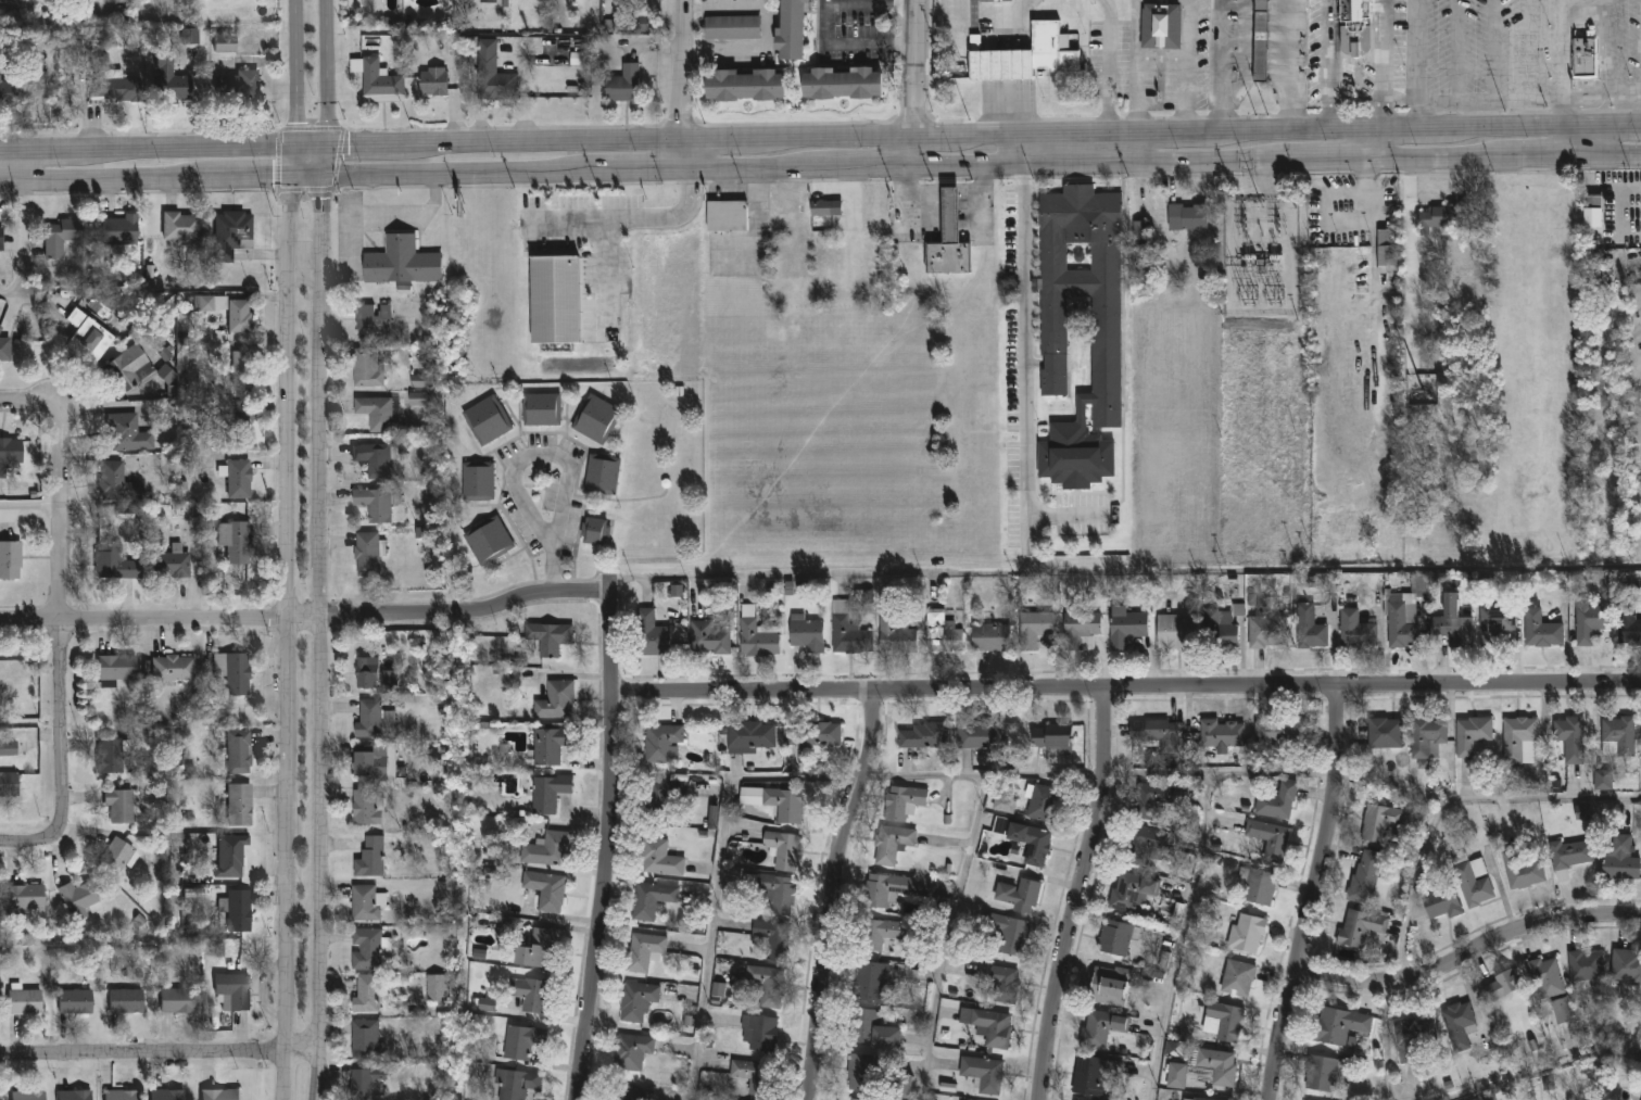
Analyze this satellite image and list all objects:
building: (491, 0)
building: (994, 1)
road: (1014, 15)
building: (641, 24)
road: (769, 26)
road: (825, 26)
building: (1159, 26)
building: (733, 28)
building: (791, 28)
building: (1353, 28)
building: (190, 36)
building: (1261, 40)
building: (228, 41)
road: (1611, 49)
road: (1531, 51)
road: (1417, 52)
road: (1457, 52)
road: (1495, 52)
building: (1582, 52)
building: (1028, 55)
parking lot: (1514, 55)
road: (1330, 64)
road: (1108, 65)
road: (1137, 65)
road: (1288, 65)
road: (1189, 66)
road: (1386, 66)
road: (1564, 66)
road: (1239, 67)
road: (295, 72)
road: (325, 72)
building: (496, 74)
building: (238, 78)
building: (112, 79)
building: (381, 80)
building: (438, 80)
building: (173, 81)
building: (841, 81)
road: (912, 83)
building: (621, 84)
road: (682, 84)
building: (744, 84)
building: (5, 87)
road: (1603, 99)
road: (1358, 100)
road: (1476, 104)
road: (1418, 117)
road: (1566, 127)
road: (1385, 128)
road: (983, 135)
traffic signals: (326, 144)
traffic signals: (295, 146)
road: (163, 148)
road: (1603, 153)
road: (1537, 154)
road: (1437, 156)
road: (1326, 157)
road: (324, 159)
road: (293, 160)
road: (1096, 162)
road: (864, 165)
road: (753, 167)
road: (641, 168)
road: (445, 170)
traffic signals: (291, 174)
traffic signals: (323, 174)
road: (258, 175)
road: (112, 178)
road: (1262, 179)
road: (1369, 190)
building: (826, 207)
road: (368, 212)
road: (943, 213)
building: (723, 215)
building: (1185, 216)
building: (1438, 218)
road: (635, 219)
building: (184, 227)
building: (123, 228)
building: (1591, 228)
building: (235, 232)
building: (1140, 233)
building: (63, 235)
building: (2, 238)
building: (946, 239)
parking lot: (586, 241)
road: (22, 246)
building: (1386, 249)
building: (405, 262)
road: (306, 276)
building: (1081, 291)
building: (555, 300)
building: (211, 303)
road: (1253, 305)
building: (242, 315)
building: (377, 320)
building: (1, 328)
building: (91, 333)
road: (1026, 344)
building: (7, 349)
building: (130, 368)
building: (245, 368)
building: (370, 368)
building: (421, 380)
building: (418, 400)
road: (34, 401)
building: (545, 408)
building: (381, 412)
building: (596, 418)
building: (491, 419)
building: (244, 420)
building: (130, 432)
road: (517, 451)
building: (11, 453)
building: (378, 458)
building: (603, 475)
building: (241, 478)
building: (481, 481)
building: (119, 482)
building: (380, 503)
building: (1599, 503)
road: (33, 505)
building: (595, 531)
building: (238, 540)
building: (492, 541)
building: (371, 553)
building: (11, 559)
building: (118, 561)
building: (175, 562)
road: (64, 614)
building: (1404, 614)
road: (310, 618)
building: (1590, 621)
building: (1452, 623)
building: (1492, 623)
building: (1627, 623)
building: (1124, 627)
building: (1033, 628)
building: (1220, 628)
building: (1308, 628)
building: (1082, 629)
building: (1539, 629)
building: (1355, 630)
building: (846, 631)
building: (1174, 631)
building: (1264, 631)
building: (893, 632)
building: (941, 633)
building: (649, 634)
building: (805, 634)
building: (755, 635)
road: (289, 636)
road: (321, 636)
building: (989, 636)
building: (553, 637)
building: (709, 638)
building: (176, 667)
building: (118, 668)
building: (237, 671)
building: (378, 674)
road: (1127, 688)
building: (559, 700)
building: (376, 719)
building: (1278, 731)
building: (1640, 731)
building: (1220, 733)
building: (1154, 734)
building: (807, 735)
building: (1383, 735)
building: (1470, 735)
building: (748, 736)
building: (923, 736)
building: (980, 736)
building: (1050, 737)
building: (1425, 737)
building: (1617, 737)
building: (1569, 738)
building: (1517, 739)
building: (661, 742)
building: (554, 745)
building: (8, 747)
building: (241, 750)
building: (114, 754)
building: (379, 761)
road: (982, 773)
building: (1602, 780)
building: (10, 784)
building: (552, 793)
building: (660, 797)
building: (1147, 800)
road: (1450, 800)
building: (1276, 801)
building: (901, 802)
building: (1040, 802)
building: (1005, 804)
building: (123, 805)
building: (243, 805)
building: (783, 806)
building: (370, 807)
building: (1583, 812)
building: (1378, 822)
building: (1000, 825)
building: (1267, 838)
road: (39, 840)
building: (1028, 843)
building: (891, 844)
road: (609, 846)
building: (1140, 846)
building: (551, 849)
building: (781, 849)
building: (231, 855)
building: (121, 856)
building: (1567, 857)
building: (374, 858)
building: (658, 858)
building: (1619, 860)
building: (1520, 872)
road: (715, 876)
building: (1363, 877)
road: (1195, 878)
building: (1473, 883)
building: (1255, 886)
building: (891, 889)
building: (550, 890)
building: (771, 892)
building: (1131, 892)
road: (833, 893)
road: (1080, 894)
road: (1311, 894)
building: (1018, 895)
building: (27, 897)
building: (83, 899)
building: (652, 900)
building: (1440, 901)
building: (369, 902)
building: (240, 910)
building: (1361, 930)
building: (1006, 932)
building: (881, 933)
building: (1246, 934)
road: (949, 936)
building: (1116, 937)
building: (771, 938)
building: (373, 949)
building: (543, 949)
building: (643, 951)
road: (1469, 953)
building: (1626, 966)
building: (1583, 968)
building: (1236, 978)
building: (1543, 978)
building: (869, 982)
building: (999, 982)
building: (767, 985)
building: (1108, 985)
building: (1501, 986)
building: (440, 988)
building: (718, 989)
building: (237, 991)
building: (370, 994)
building: (535, 994)
building: (27, 1000)
building: (78, 1000)
building: (180, 1000)
building: (638, 1000)
building: (129, 1001)
building: (488, 1003)
building: (1561, 1011)
building: (1224, 1021)
building: (1457, 1023)
building: (1337, 1026)
building: (990, 1028)
building: (1100, 1028)
building: (869, 1029)
building: (757, 1033)
building: (1412, 1035)
building: (370, 1040)
building: (526, 1042)
building: (630, 1051)
road: (160, 1052)
building: (1216, 1066)
building: (860, 1072)
road: (1547, 1072)
building: (981, 1074)
building: (1321, 1074)
building: (1091, 1075)
building: (753, 1076)
building: (1174, 1076)
building: (369, 1082)
building: (518, 1084)
building: (897, 1087)
building: (224, 1093)
building: (631, 1093)
building: (75, 1095)
building: (171, 1095)
building: (28, 1096)
building: (853, 1099)
building: (1194, 1099)

